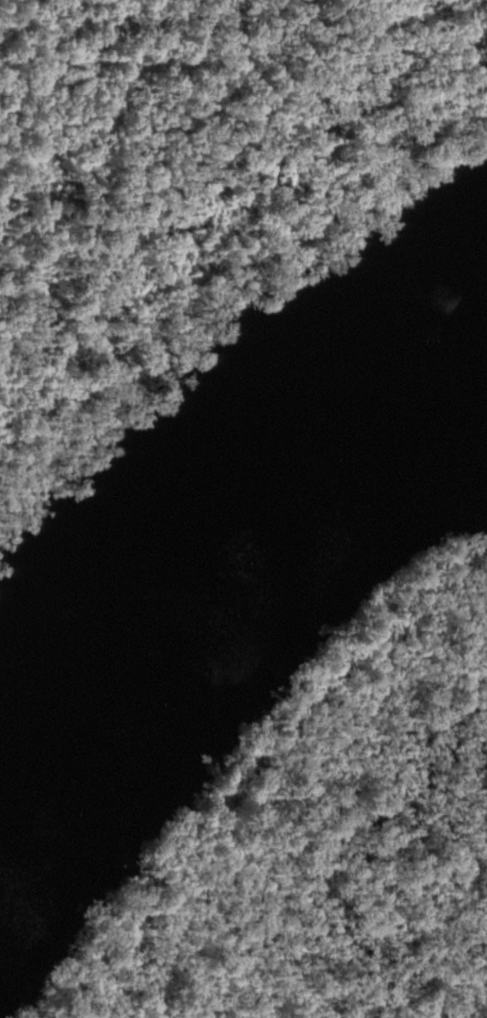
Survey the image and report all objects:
road: (3, 122)
river: (231, 521)

